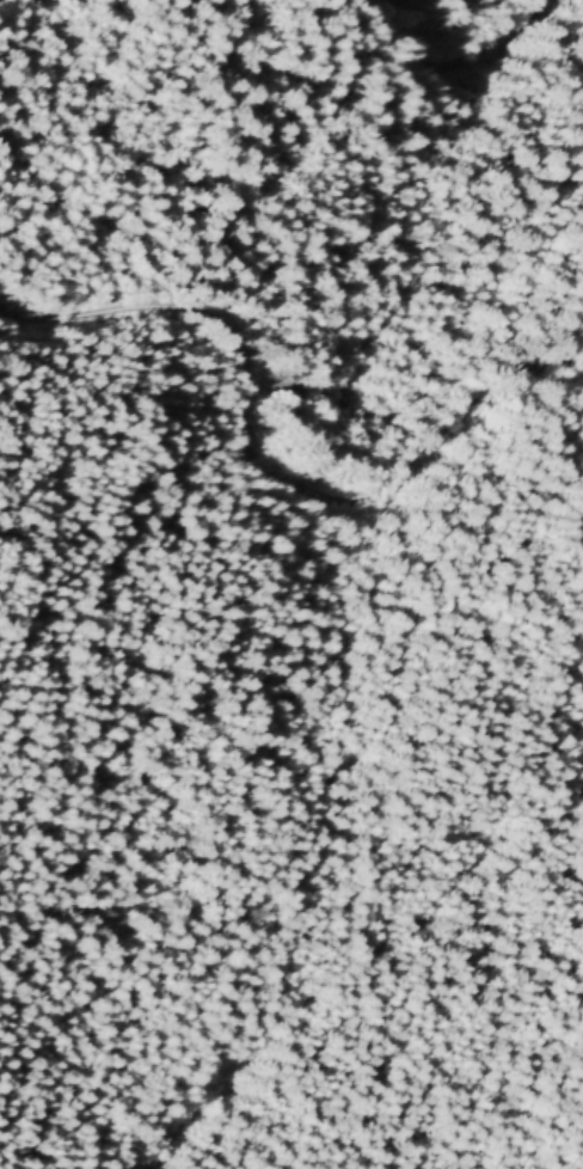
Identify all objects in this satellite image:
road: (475, 66)
road: (268, 455)

